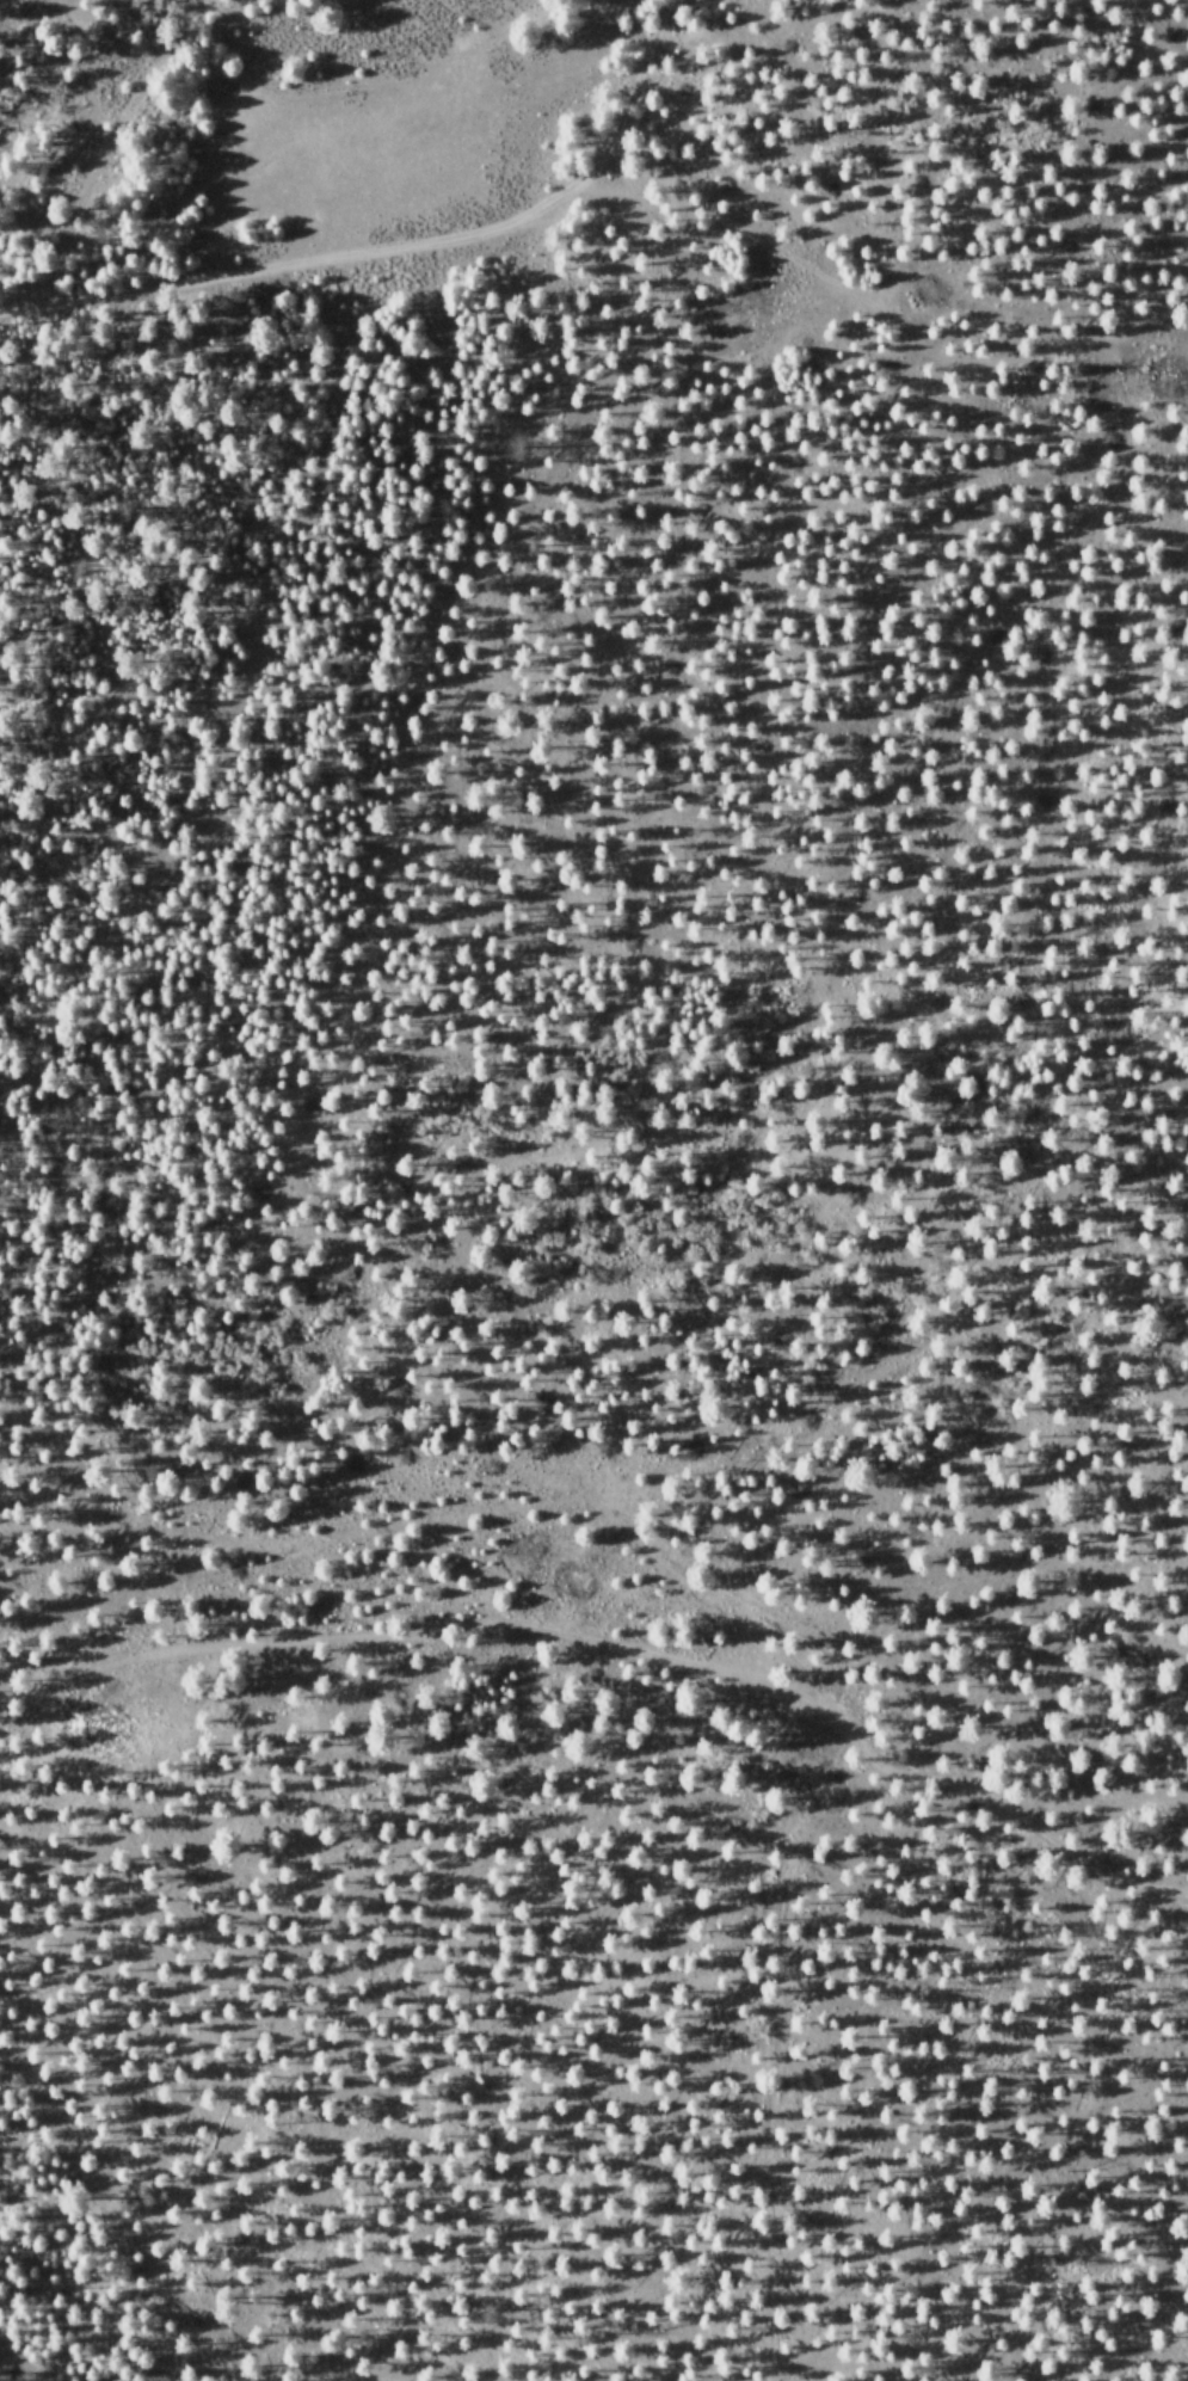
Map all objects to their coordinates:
road: (276, 195)

